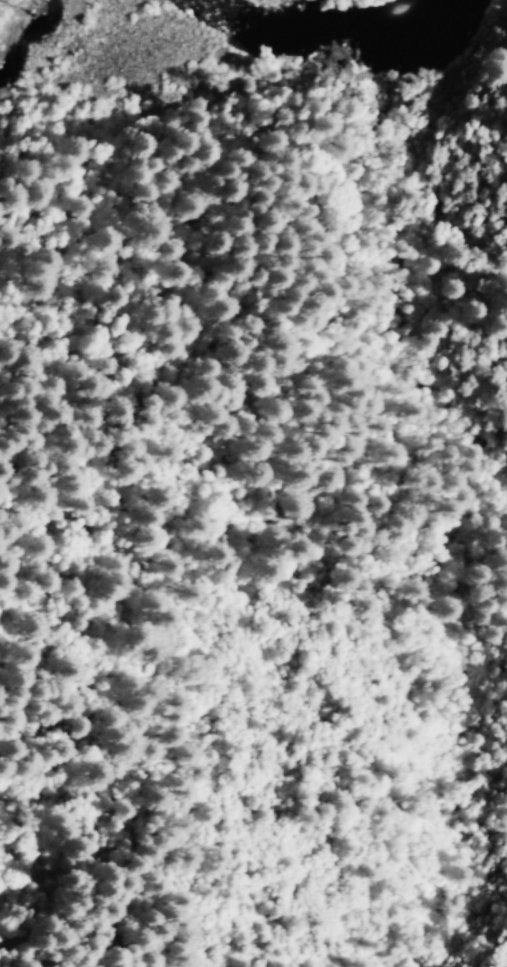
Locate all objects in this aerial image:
river: (329, 30)
river: (27, 39)

